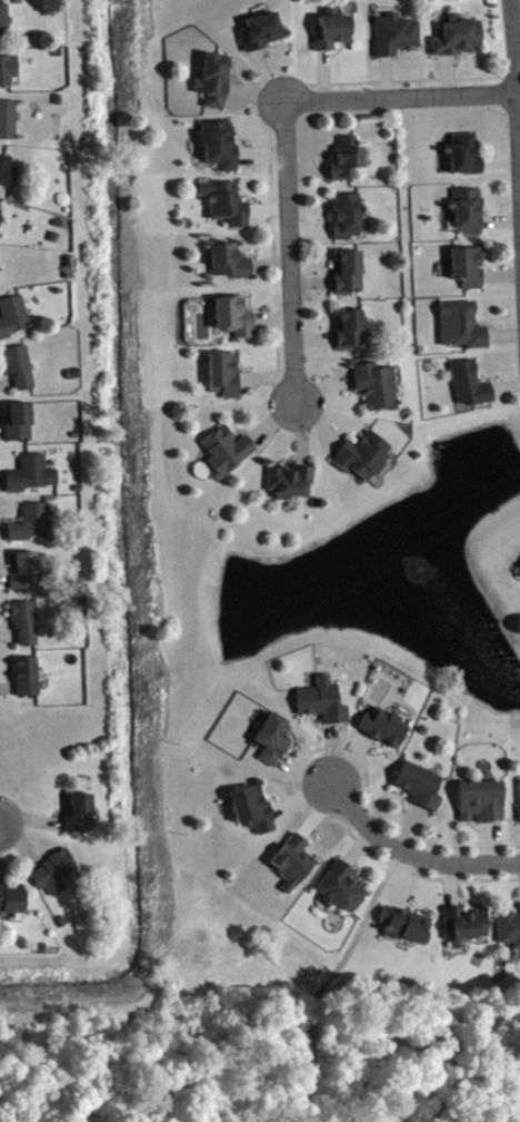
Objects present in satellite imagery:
building: (3, 0)
building: (4, 30)
building: (332, 37)
building: (261, 38)
building: (396, 42)
building: (459, 43)
road: (513, 49)
building: (8, 77)
building: (214, 87)
building: (9, 127)
road: (518, 139)
road: (289, 141)
building: (220, 150)
building: (464, 161)
building: (347, 166)
building: (8, 178)
building: (226, 209)
building: (0, 214)
building: (468, 218)
building: (348, 223)
building: (1, 226)
building: (230, 268)
building: (468, 274)
building: (0, 278)
building: (349, 279)
building: (13, 323)
building: (234, 323)
building: (460, 333)
building: (350, 336)
building: (21, 375)
building: (224, 382)
building: (470, 392)
building: (376, 393)
building: (19, 430)
building: (227, 457)
building: (363, 463)
building: (32, 481)
building: (291, 489)
building: (31, 529)
building: (24, 578)
building: (26, 630)
building: (28, 683)
building: (323, 709)
building: (386, 735)
building: (274, 746)
building: (420, 793)
building: (519, 798)
building: (482, 808)
building: (253, 816)
building: (80, 820)
road: (409, 854)
building: (294, 868)
building: (54, 880)
building: (341, 895)
building: (11, 907)
building: (407, 932)
building: (464, 933)
building: (509, 935)
road: (329, 982)
park: (194, 1062)

